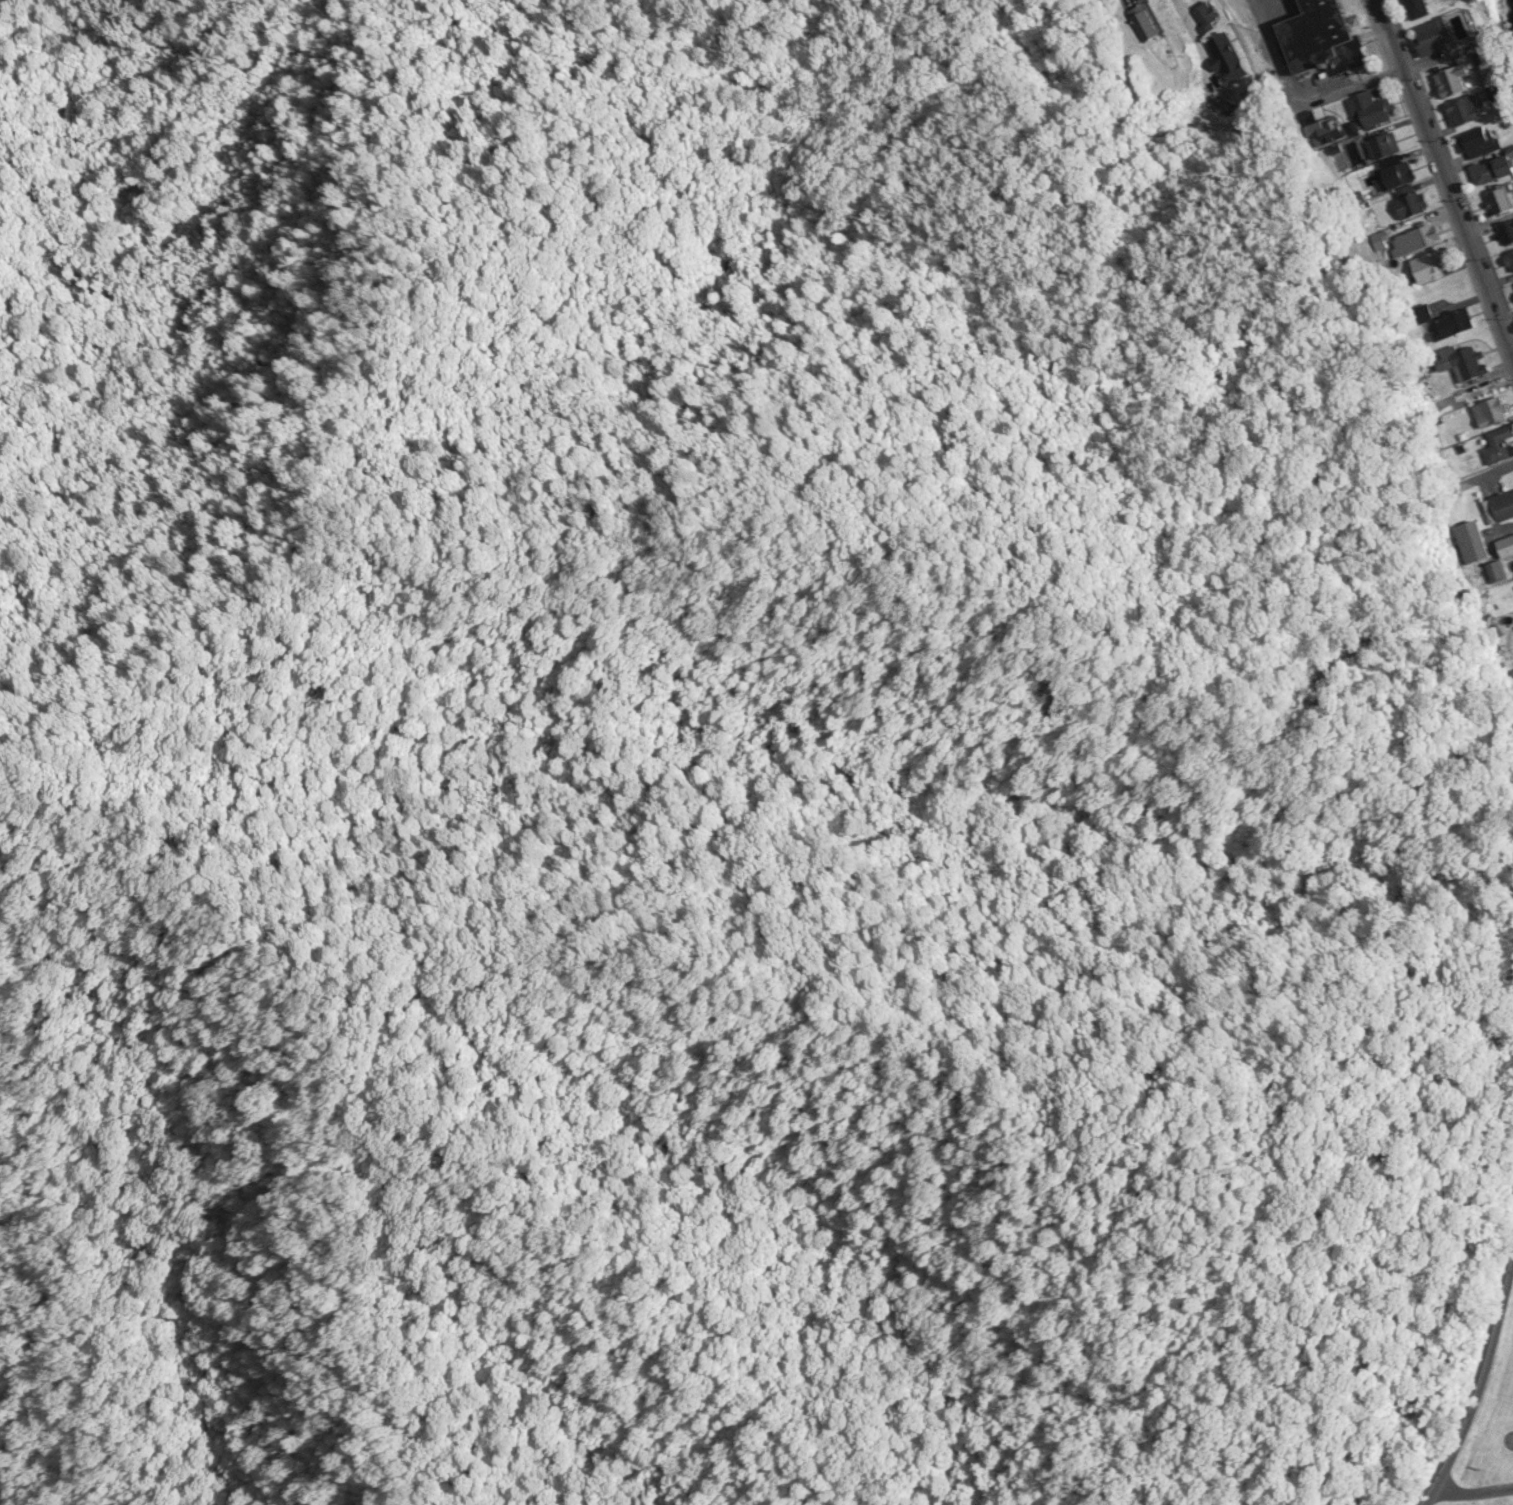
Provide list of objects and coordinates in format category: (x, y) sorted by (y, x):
road: (1127, 4)
building: (1424, 9)
road: (1189, 12)
building: (1212, 19)
building: (1143, 21)
building: (1158, 26)
building: (1440, 36)
building: (1320, 40)
building: (1231, 57)
building: (1495, 76)
building: (1453, 78)
building: (1464, 81)
building: (1504, 93)
building: (1465, 109)
building: (1376, 110)
building: (1477, 111)
building: (1334, 132)
building: (1488, 142)
road: (1454, 146)
building: (1388, 148)
road: (1448, 169)
building: (1499, 172)
building: (1405, 175)
road: (1439, 193)
building: (1506, 203)
building: (1414, 206)
building: (1511, 230)
building: (1423, 239)
building: (1510, 259)
building: (1436, 267)
building: (1424, 313)
building: (1457, 325)
building: (1476, 364)
building: (1498, 412)
building: (1503, 446)
building: (1506, 506)
building: (1474, 541)
building: (1508, 547)
building: (1496, 570)
road: (1477, 1386)
road: (1473, 1491)

